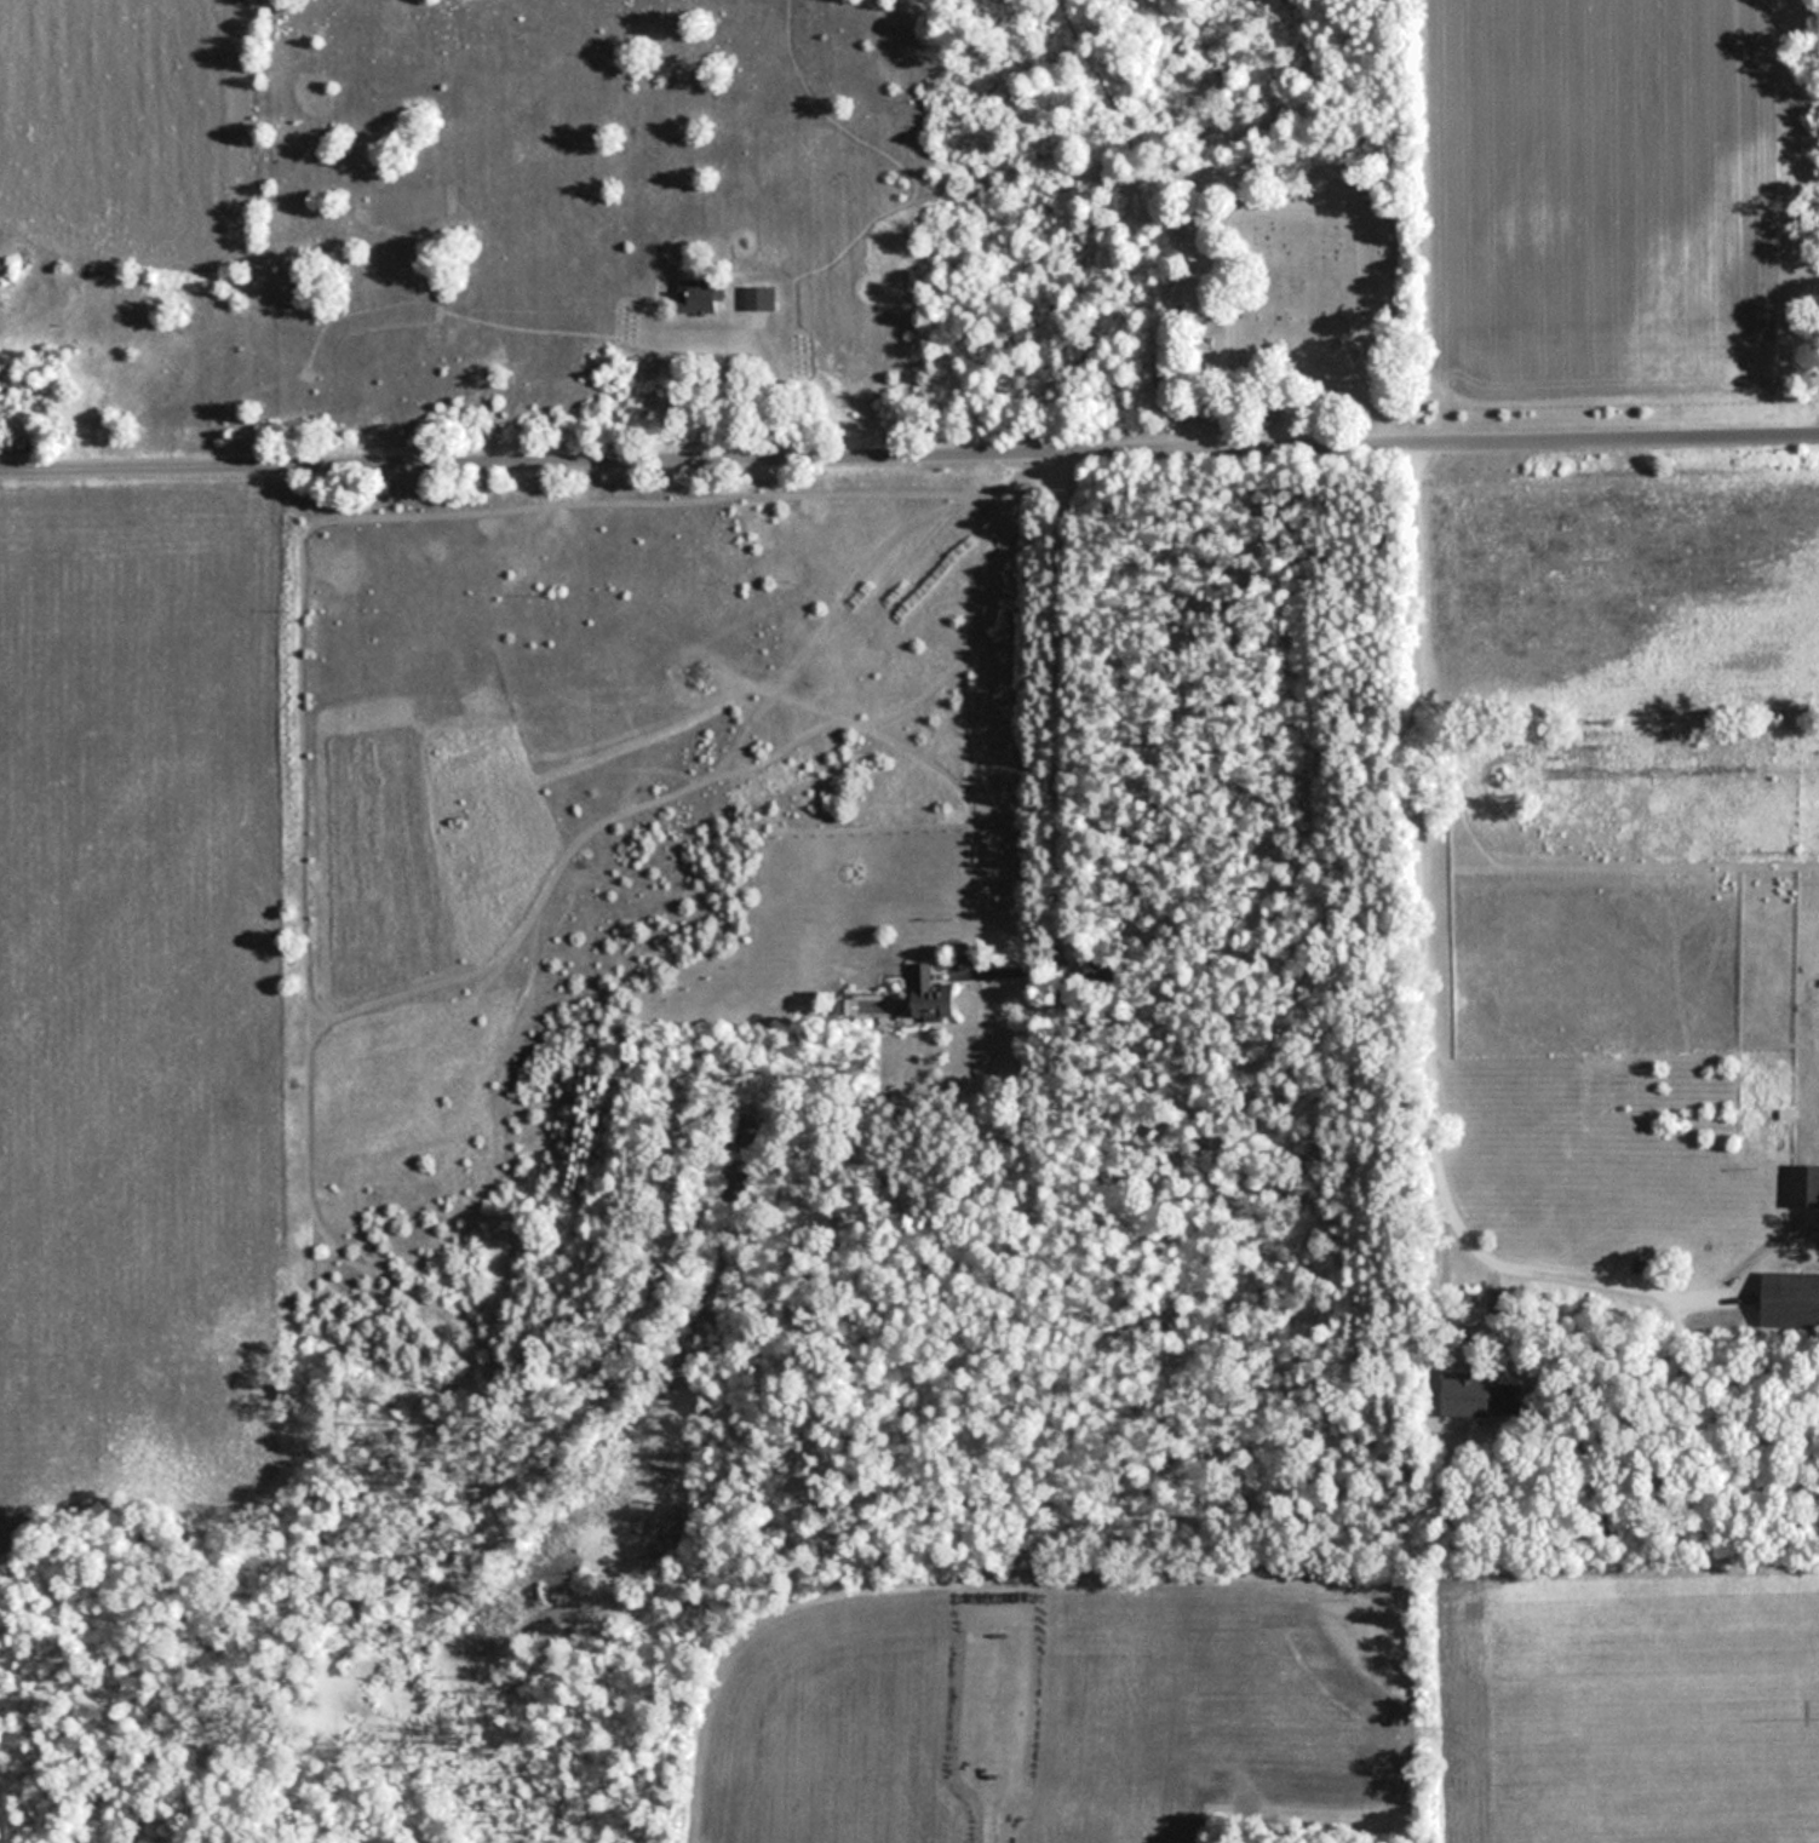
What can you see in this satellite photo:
park: (1279, 291)
road: (908, 457)
road: (1422, 959)
building: (928, 997)
building: (1806, 1185)
building: (1790, 1298)
building: (1486, 1399)

